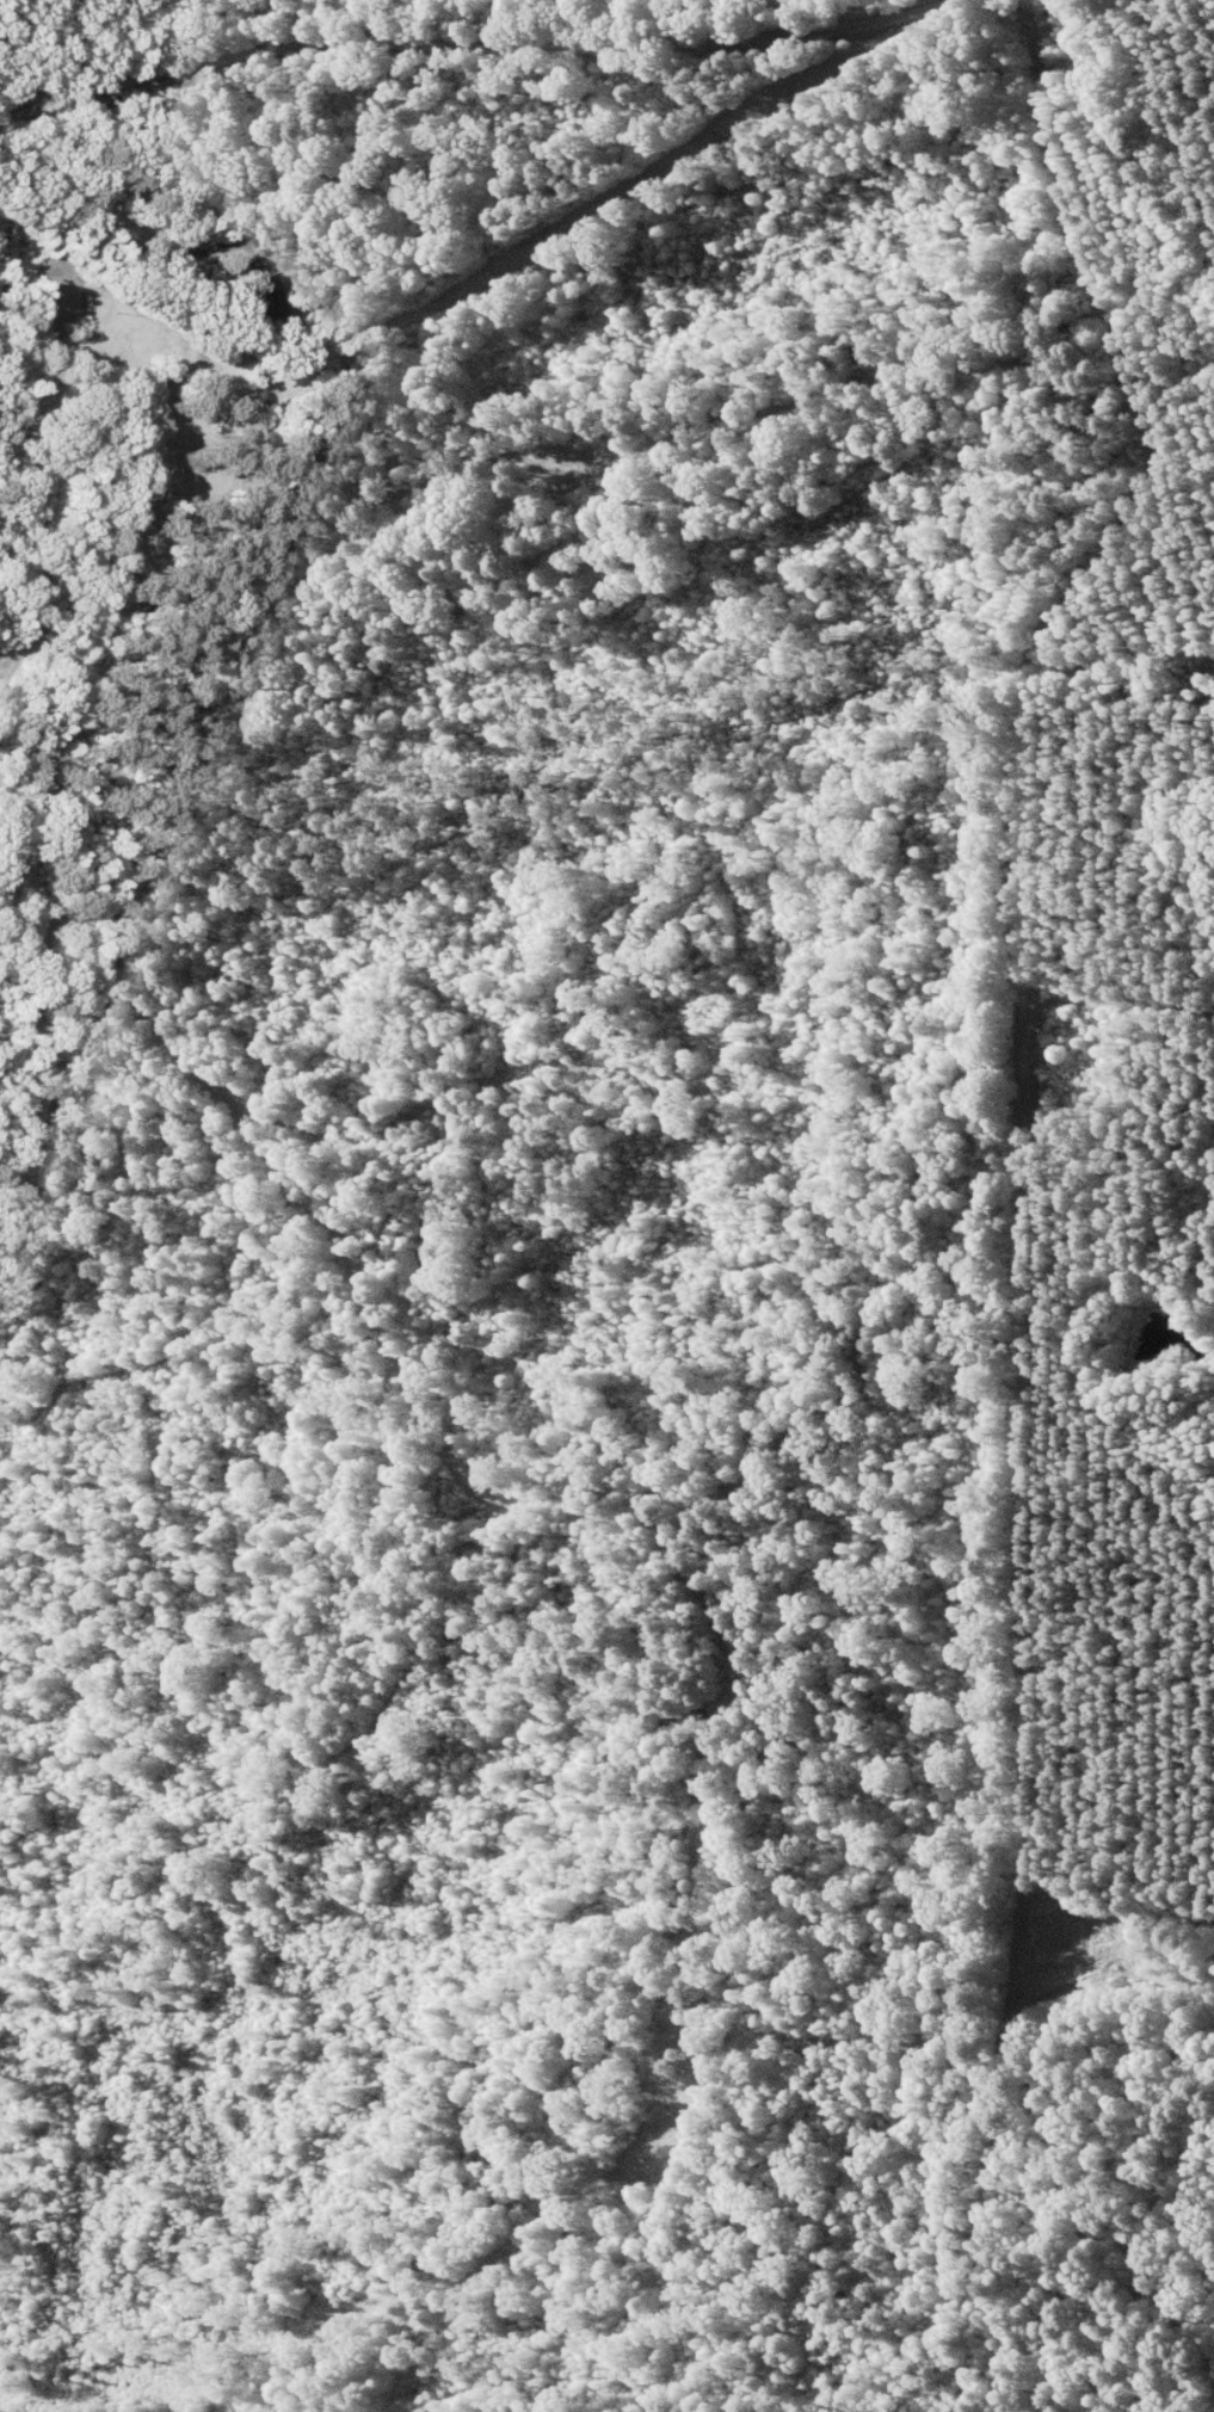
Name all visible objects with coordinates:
road: (413, 32)
building: (270, 296)

